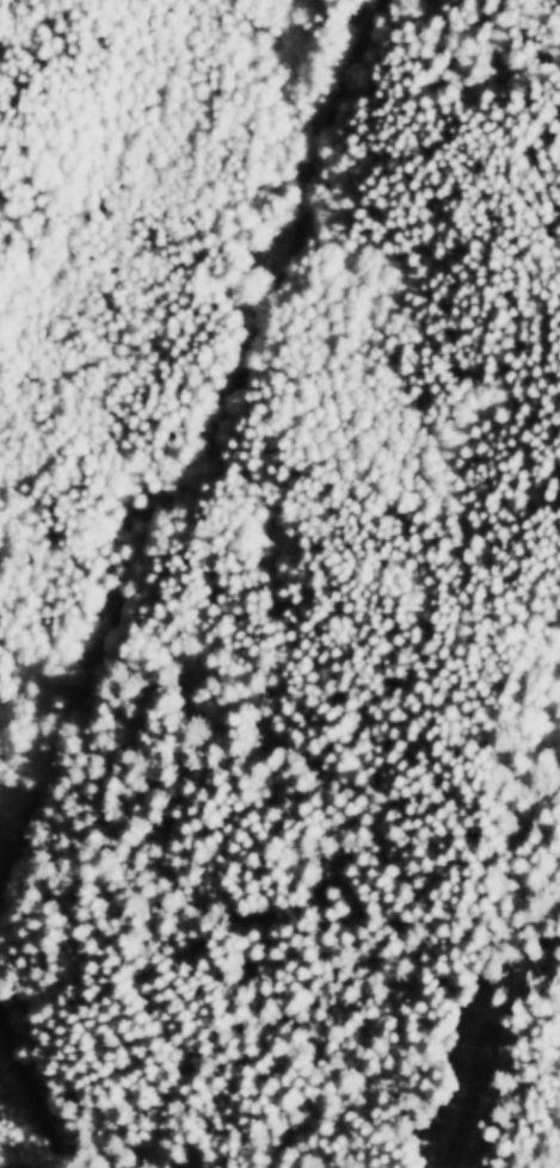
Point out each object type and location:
road: (187, 464)
road: (31, 1096)

